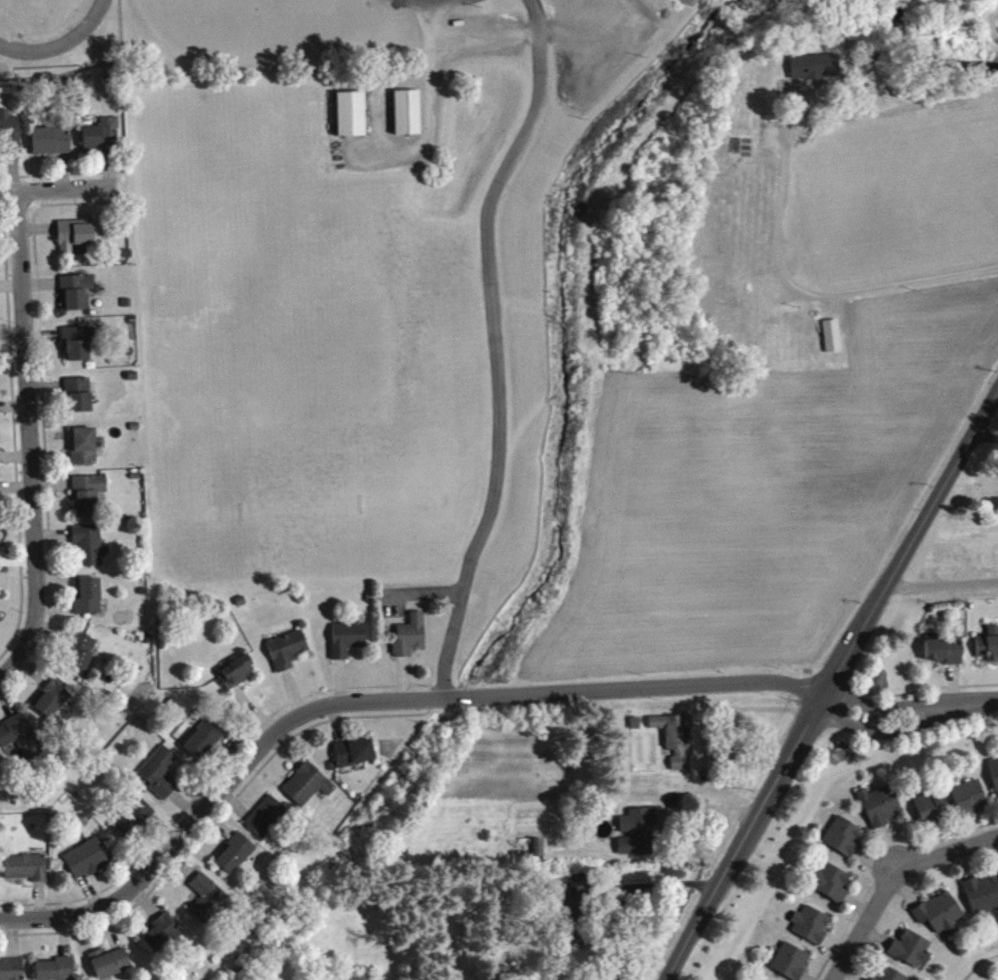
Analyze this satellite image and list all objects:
road: (428, 1)
track: (81, 30)
building: (814, 72)
building: (408, 118)
building: (351, 119)
building: (10, 137)
building: (102, 140)
building: (52, 146)
road: (58, 190)
building: (75, 241)
building: (76, 297)
building: (832, 341)
road: (493, 345)
building: (78, 348)
building: (79, 400)
road: (30, 443)
building: (85, 452)
building: (89, 500)
building: (89, 550)
building: (0, 564)
building: (88, 602)
building: (0, 622)
building: (409, 641)
building: (347, 644)
building: (989, 651)
building: (943, 654)
building: (287, 655)
building: (81, 660)
building: (238, 676)
road: (828, 683)
road: (369, 698)
building: (53, 703)
road: (908, 717)
building: (20, 741)
building: (677, 743)
building: (204, 744)
building: (355, 758)
building: (160, 778)
building: (995, 779)
building: (308, 790)
building: (969, 803)
building: (932, 810)
building: (881, 811)
building: (266, 822)
building: (133, 823)
building: (639, 837)
building: (843, 842)
building: (538, 853)
building: (235, 859)
building: (88, 864)
building: (27, 873)
road: (891, 877)
building: (832, 888)
road: (627, 892)
building: (982, 899)
building: (566, 900)
building: (208, 904)
building: (941, 918)
building: (813, 931)
building: (576, 932)
building: (161, 939)
building: (912, 955)
road: (977, 963)
building: (791, 965)
building: (110, 967)
building: (56, 972)
building: (11, 973)
building: (890, 977)
building: (872, 979)

